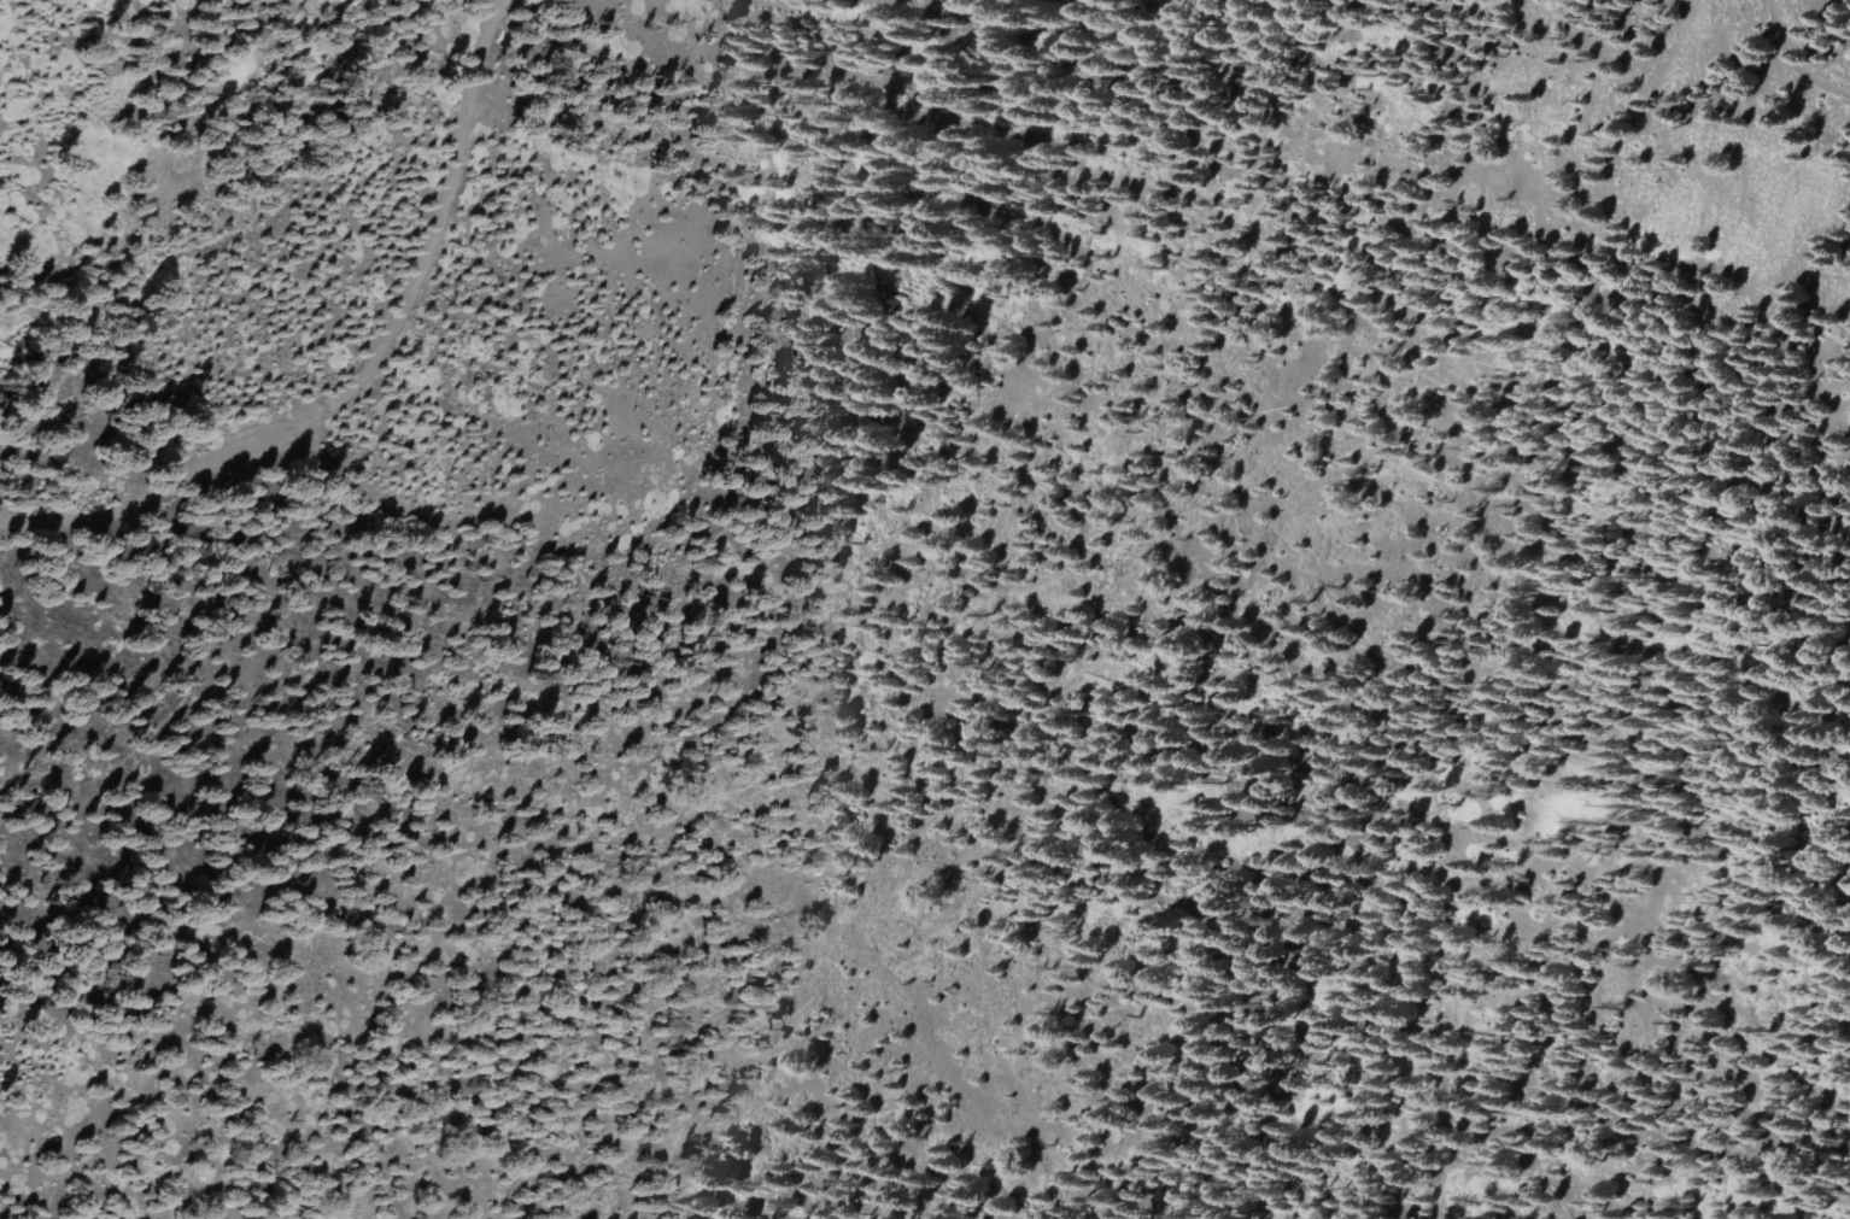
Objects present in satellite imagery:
road: (1793, 61)
road: (116, 264)
road: (364, 376)

